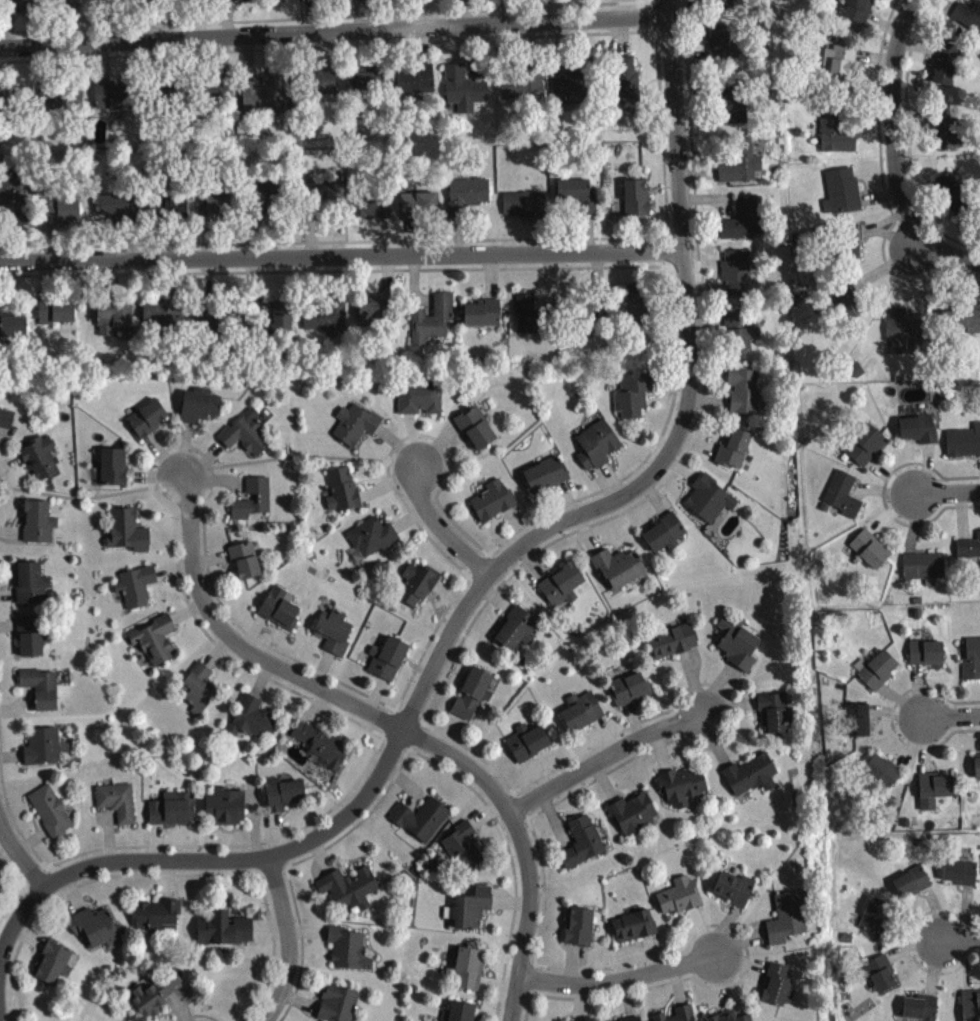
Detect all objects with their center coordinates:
building: (287, 2)
building: (724, 6)
building: (24, 7)
building: (860, 14)
building: (968, 22)
road: (335, 34)
building: (724, 51)
building: (947, 70)
building: (837, 77)
building: (415, 85)
building: (323, 88)
building: (367, 88)
building: (628, 91)
building: (219, 93)
building: (523, 93)
building: (573, 93)
building: (465, 95)
building: (267, 99)
building: (113, 102)
building: (733, 109)
road: (896, 123)
building: (947, 134)
building: (837, 139)
building: (743, 169)
building: (843, 198)
building: (952, 198)
building: (330, 199)
building: (12, 201)
building: (468, 201)
building: (578, 202)
building: (266, 204)
building: (636, 204)
building: (525, 210)
building: (421, 211)
building: (115, 212)
building: (218, 212)
building: (174, 213)
building: (373, 213)
building: (66, 216)
building: (745, 226)
building: (853, 249)
road: (949, 256)
road: (342, 258)
building: (738, 279)
building: (372, 317)
building: (592, 318)
building: (484, 319)
building: (157, 320)
building: (115, 321)
building: (528, 321)
building: (327, 322)
building: (283, 324)
building: (434, 325)
building: (968, 326)
building: (214, 331)
building: (14, 332)
building: (903, 335)
building: (741, 338)
building: (745, 397)
building: (634, 401)
building: (420, 404)
building: (200, 413)
building: (7, 425)
building: (148, 425)
building: (356, 430)
building: (477, 435)
building: (920, 435)
building: (248, 440)
building: (964, 448)
building: (598, 451)
building: (866, 451)
building: (735, 455)
building: (41, 463)
building: (115, 473)
building: (547, 481)
road: (949, 493)
building: (343, 496)
road: (625, 499)
building: (844, 501)
building: (254, 505)
building: (710, 505)
building: (495, 507)
building: (39, 528)
road: (442, 530)
building: (129, 537)
building: (665, 540)
building: (372, 545)
building: (871, 555)
building: (969, 555)
building: (246, 566)
building: (925, 572)
building: (620, 574)
building: (32, 590)
building: (418, 590)
building: (137, 593)
building: (563, 593)
building: (281, 615)
building: (518, 635)
building: (335, 638)
building: (31, 643)
building: (156, 646)
road: (242, 646)
building: (674, 648)
building: (739, 649)
building: (927, 659)
building: (389, 665)
building: (972, 666)
building: (878, 676)
building: (200, 694)
building: (43, 695)
building: (631, 695)
building: (473, 700)
building: (582, 718)
building: (776, 719)
road: (954, 720)
building: (255, 724)
building: (859, 726)
building: (529, 749)
building: (44, 752)
building: (324, 752)
road: (605, 760)
building: (978, 774)
building: (885, 777)
building: (752, 781)
building: (683, 793)
building: (935, 796)
building: (284, 800)
building: (119, 808)
building: (227, 812)
building: (174, 815)
building: (52, 817)
building: (634, 819)
building: (422, 825)
road: (526, 846)
building: (583, 848)
building: (463, 851)
road: (21, 858)
road: (110, 866)
building: (962, 879)
building: (913, 889)
building: (350, 894)
building: (735, 895)
building: (680, 902)
building: (474, 915)
building: (159, 921)
building: (877, 922)
building: (789, 923)
building: (635, 932)
building: (95, 933)
building: (580, 933)
building: (225, 935)
road: (291, 941)
road: (963, 945)
building: (350, 956)
building: (53, 969)
building: (469, 975)
building: (882, 980)
road: (618, 984)
building: (779, 992)
building: (158, 1000)
building: (340, 1007)
building: (971, 1009)
building: (922, 1012)
building: (462, 1015)
building: (685, 1016)
building: (730, 1019)
building: (663, 1020)
building: (751, 1020)

